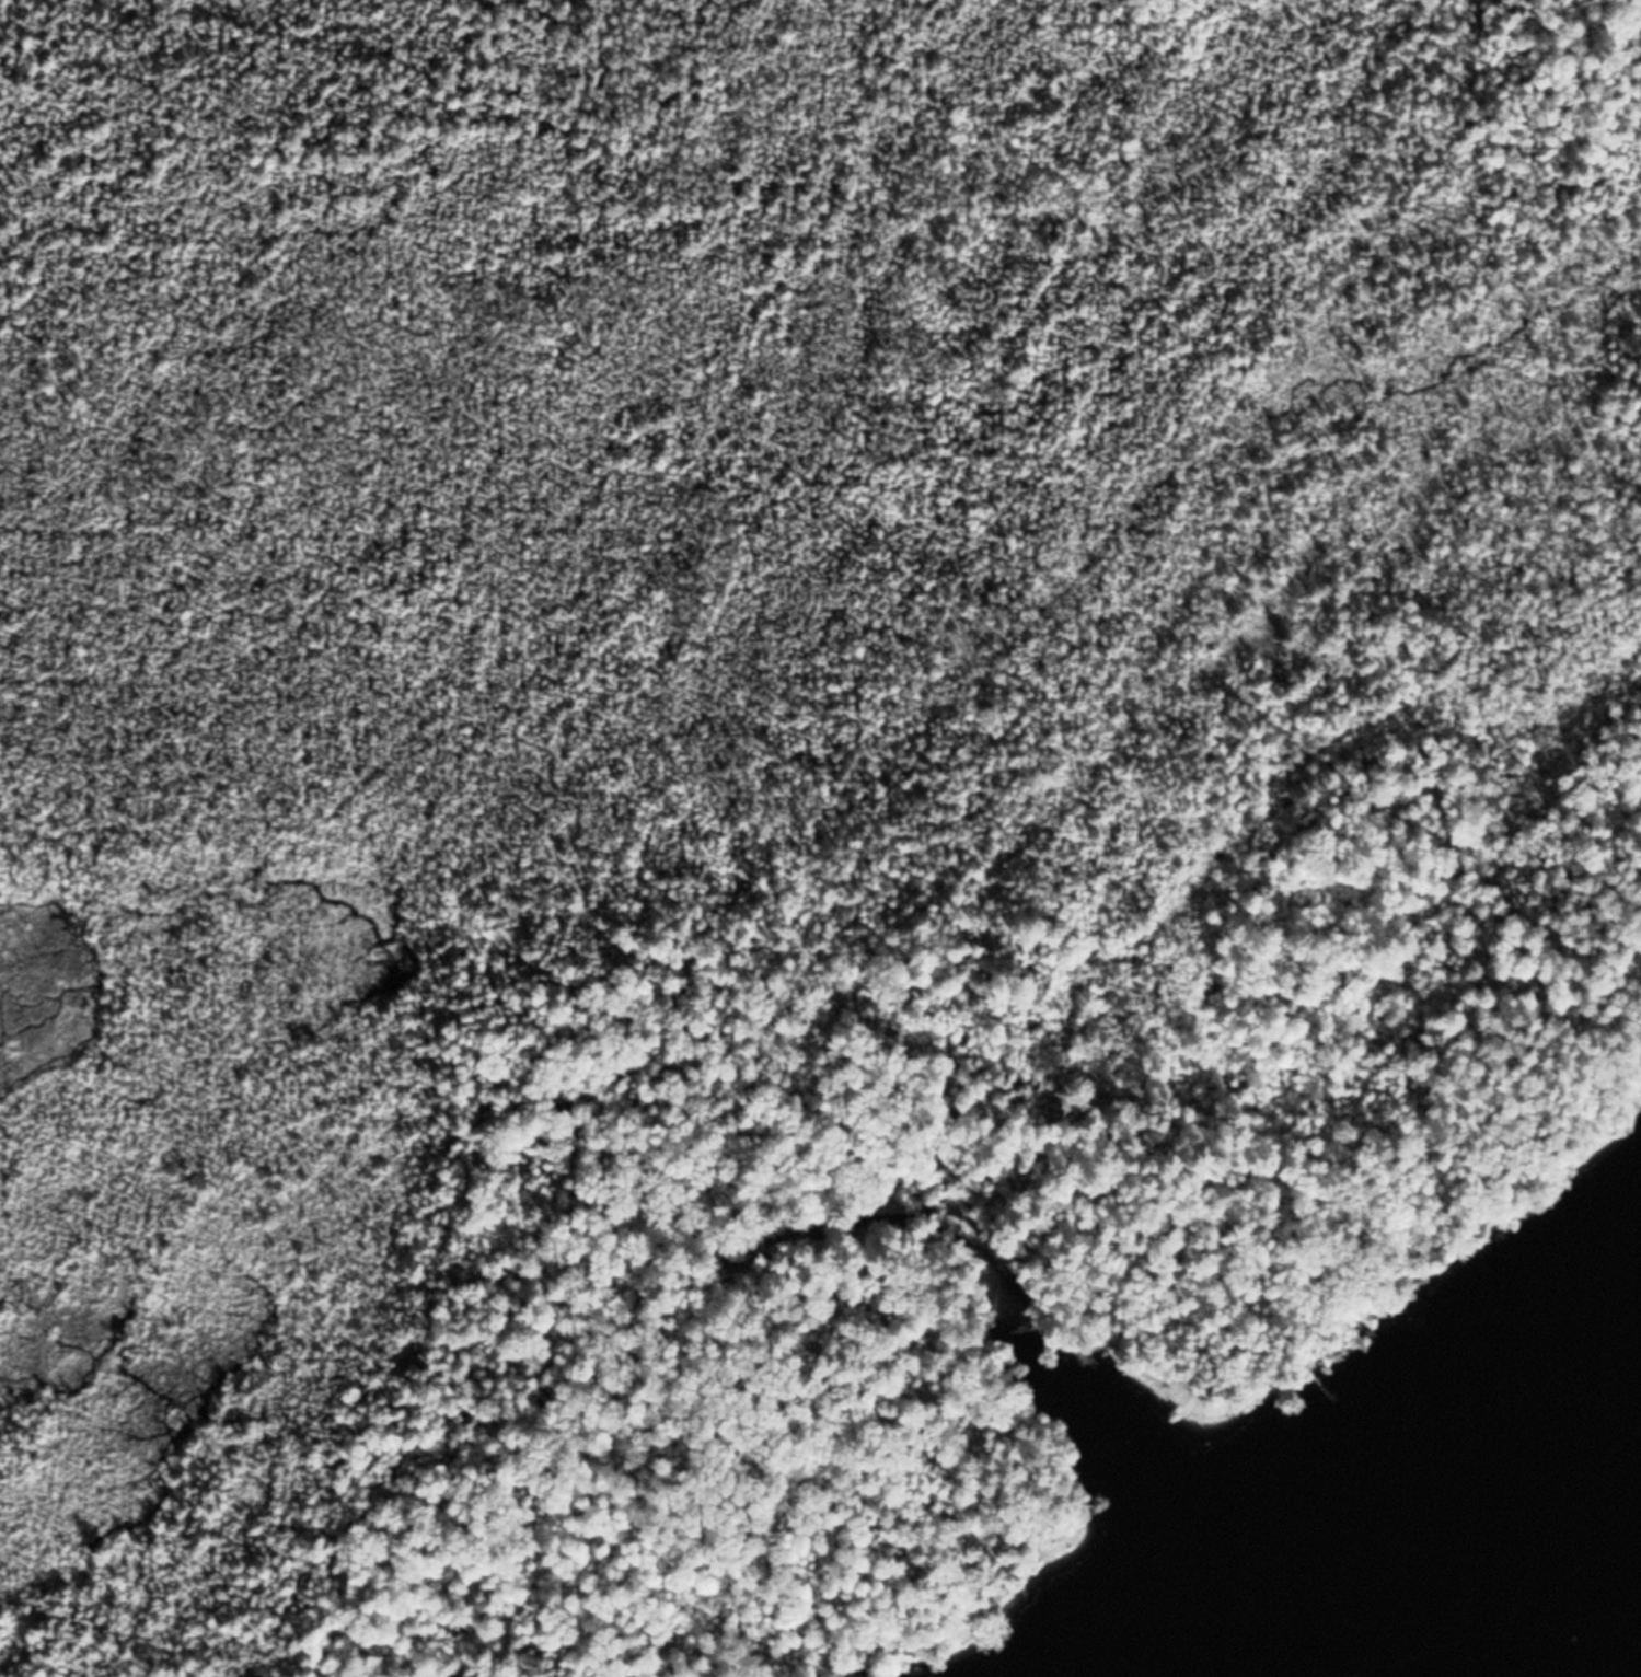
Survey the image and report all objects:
river: (1573, 1651)

